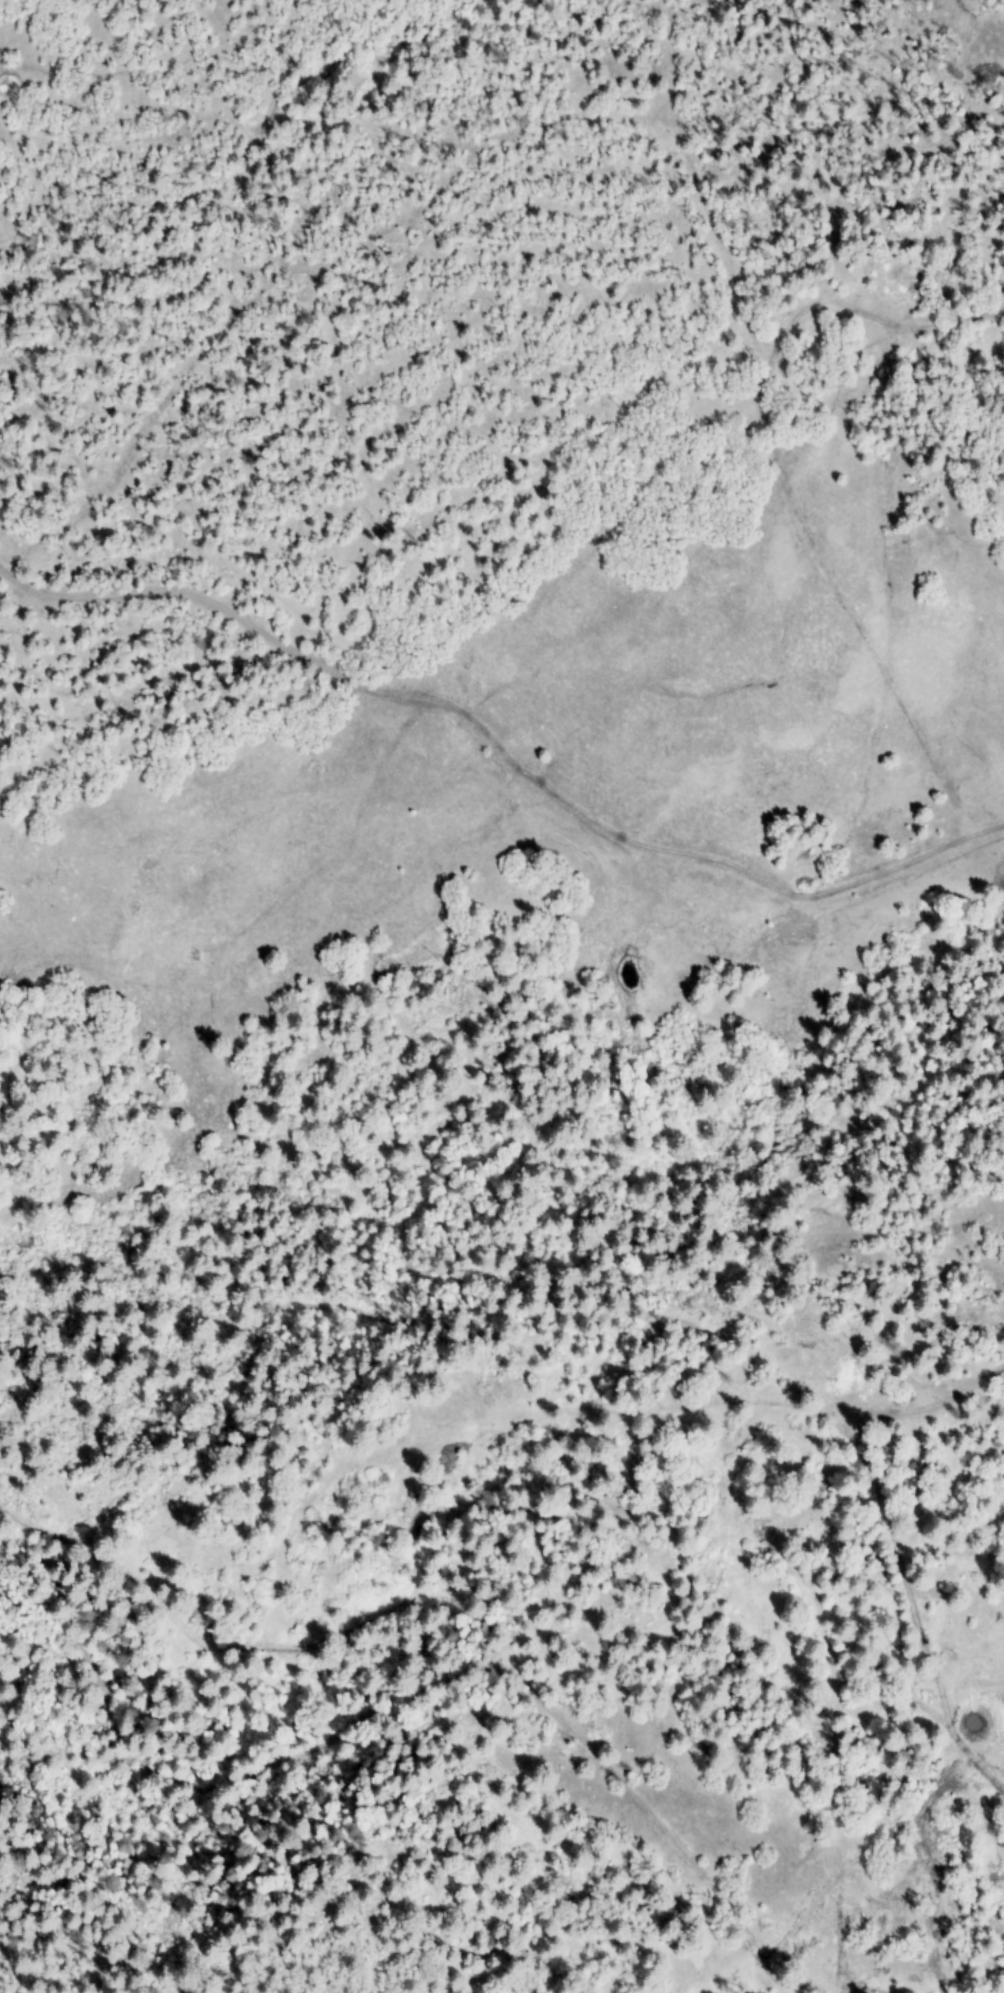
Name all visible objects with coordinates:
road: (365, 1765)

